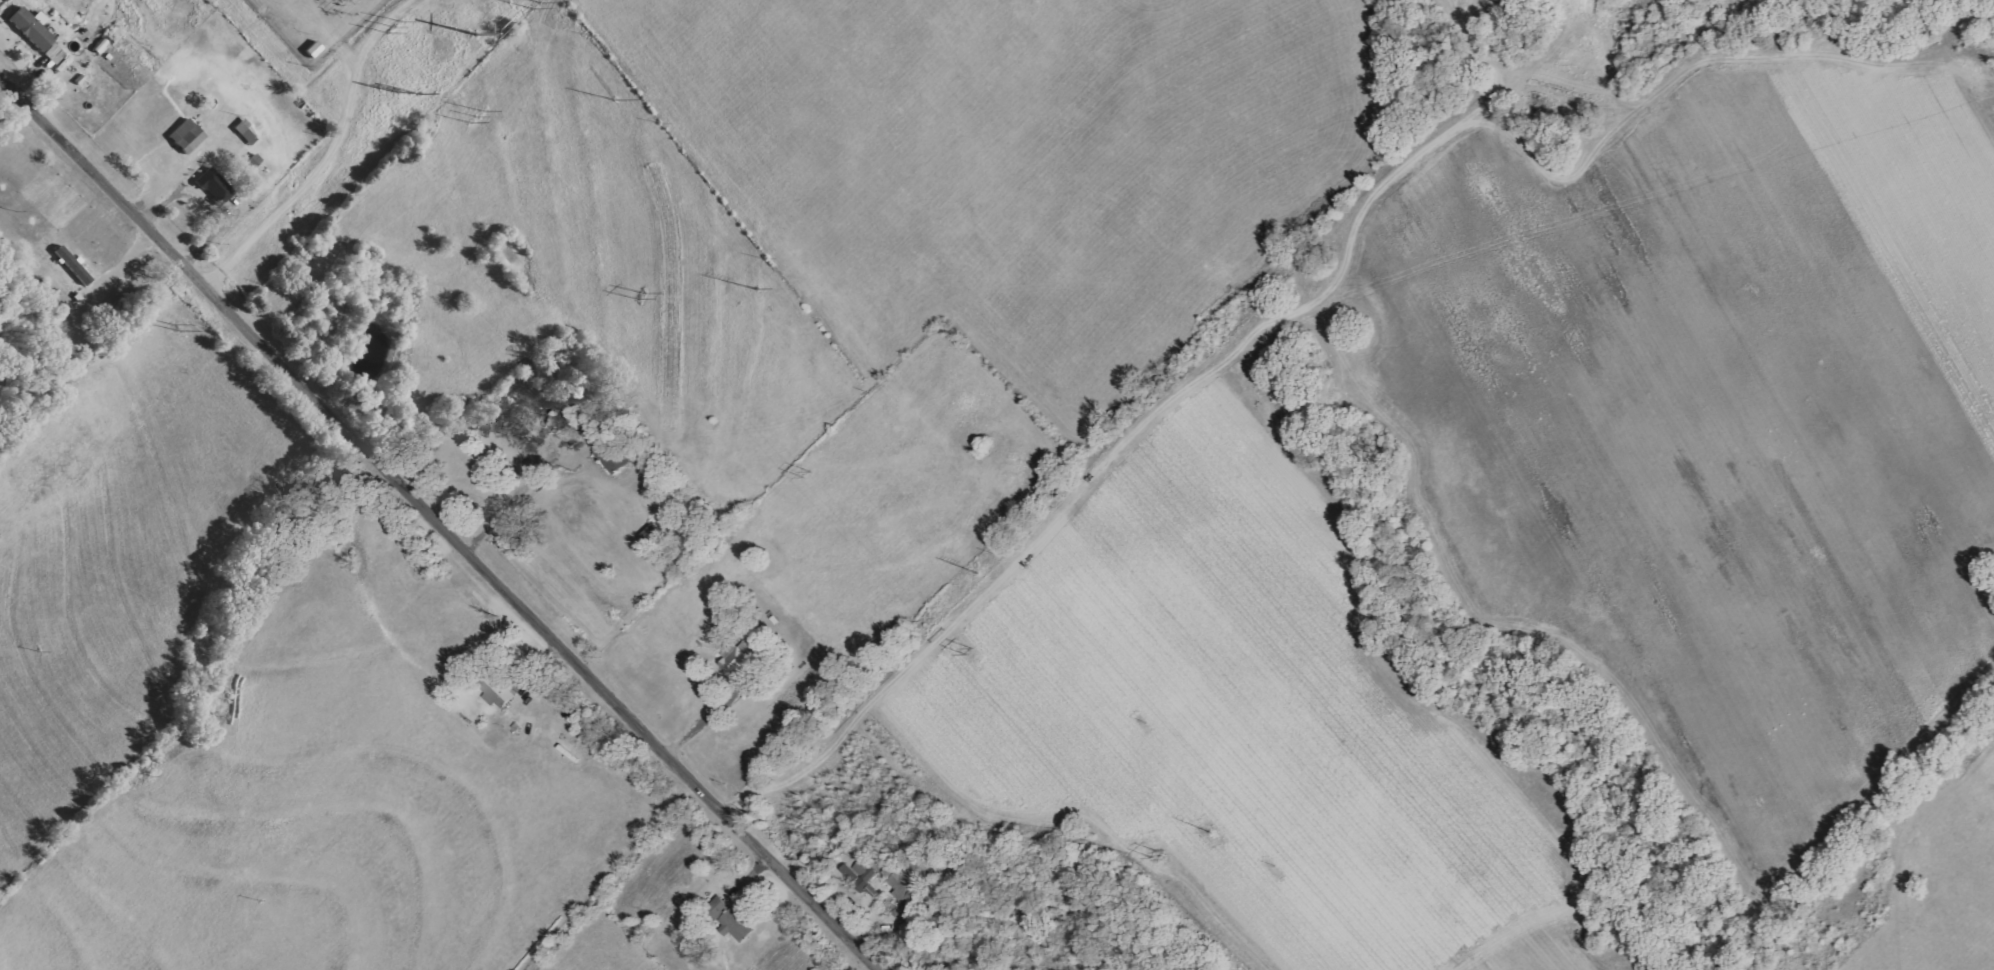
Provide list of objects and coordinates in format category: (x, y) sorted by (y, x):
power tower: (538, 3)
power substation: (315, 23)
building: (33, 28)
building: (56, 53)
power tower: (471, 114)
building: (188, 136)
building: (216, 186)
road: (291, 196)
building: (74, 265)
power tower: (754, 287)
power tower: (639, 293)
road: (1135, 425)
building: (614, 457)
power tower: (803, 474)
road: (432, 530)
power tower: (975, 573)
power tower: (964, 652)
building: (739, 658)
building: (499, 692)
power tower: (1212, 834)
power tower: (1153, 855)
building: (864, 876)
building: (907, 881)
building: (901, 911)
building: (731, 919)
building: (925, 952)

